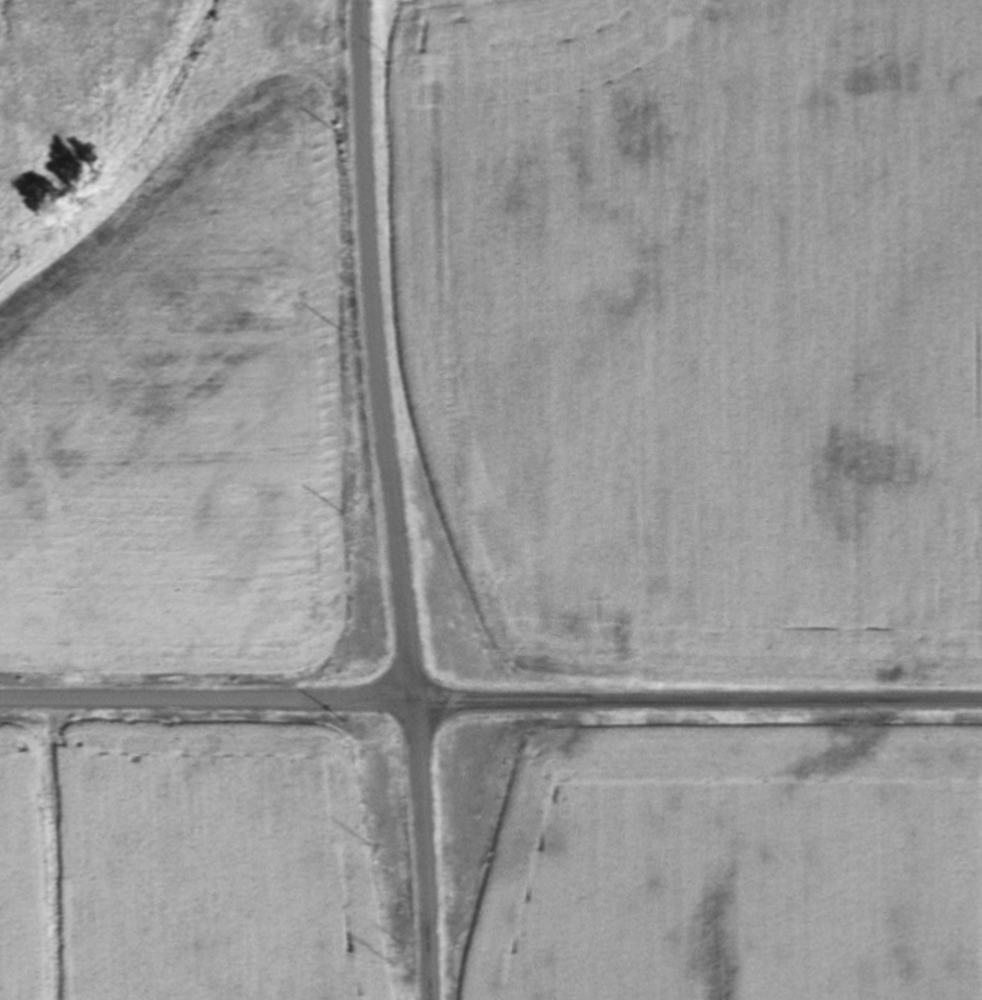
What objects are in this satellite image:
road: (378, 350)
road: (491, 700)
road: (426, 850)

